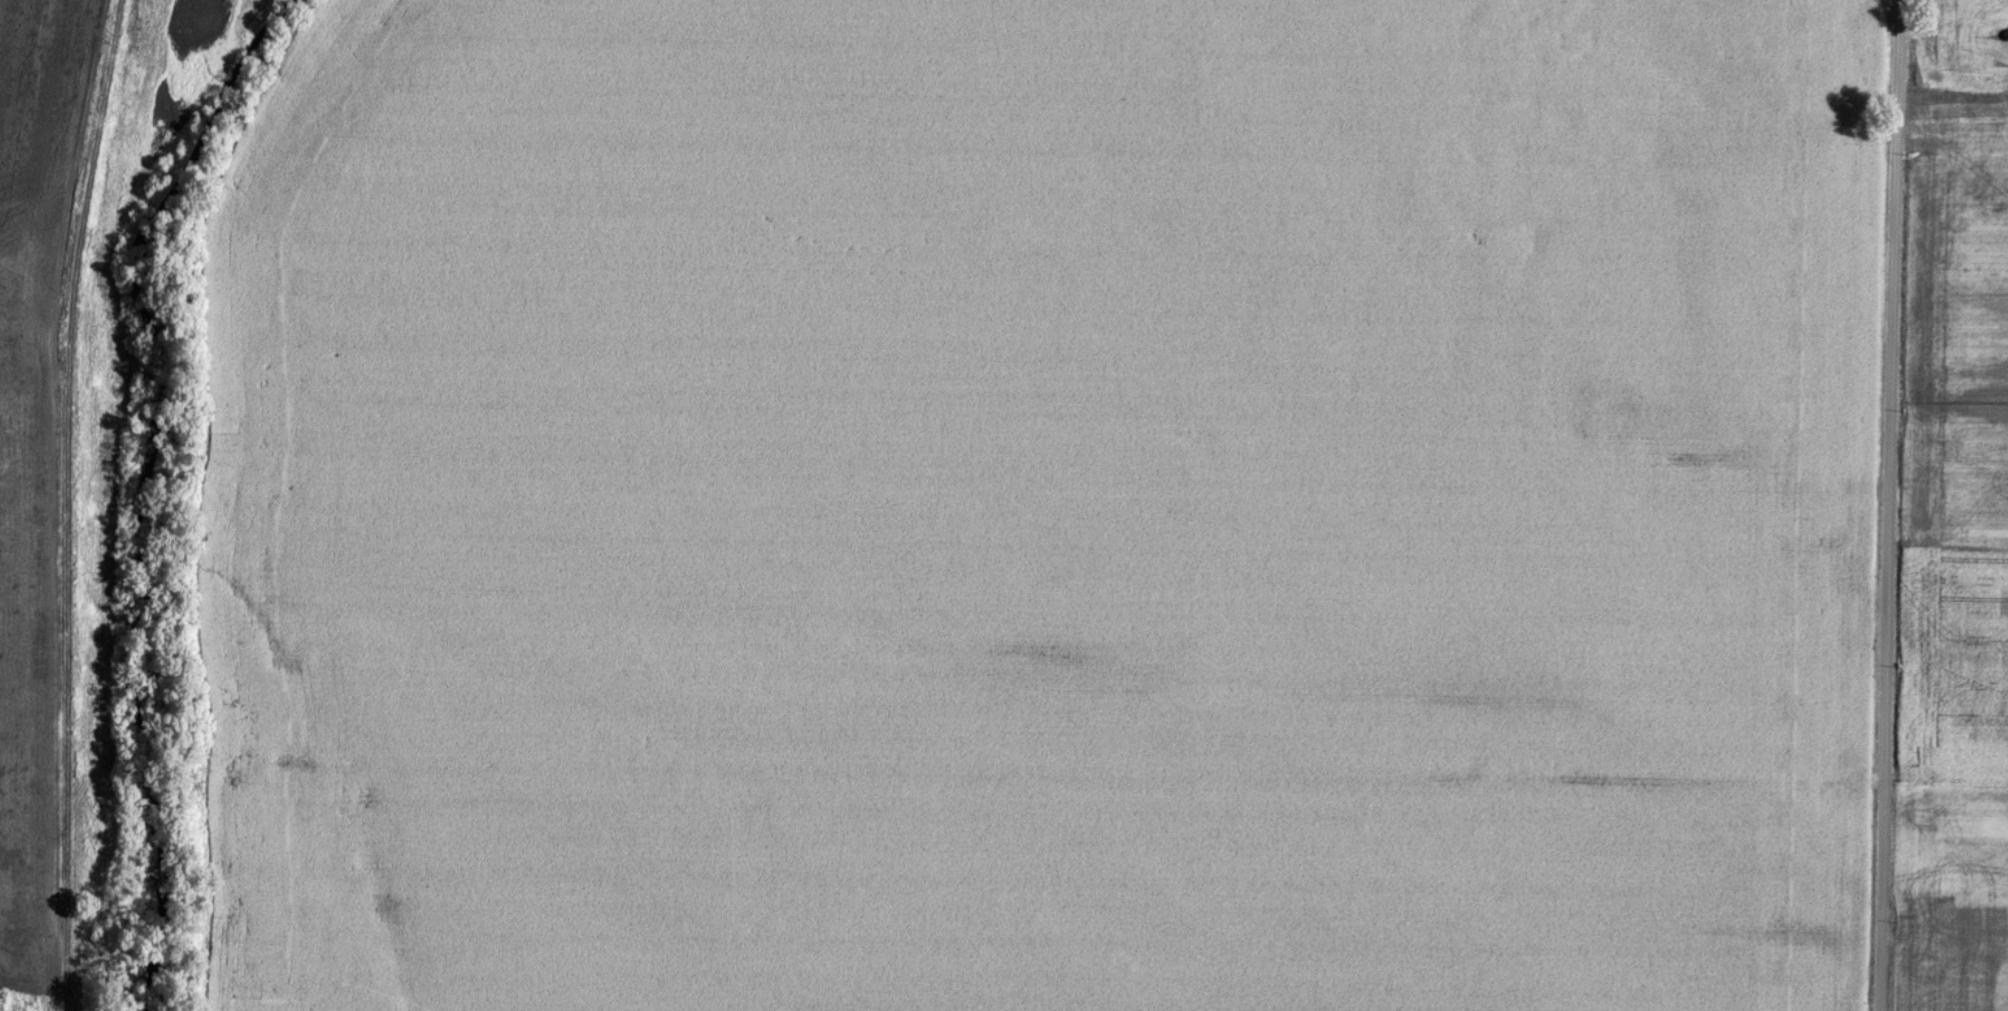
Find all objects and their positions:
building: (1956, 58)
road: (1775, 115)
road: (57, 505)
road: (1887, 505)

